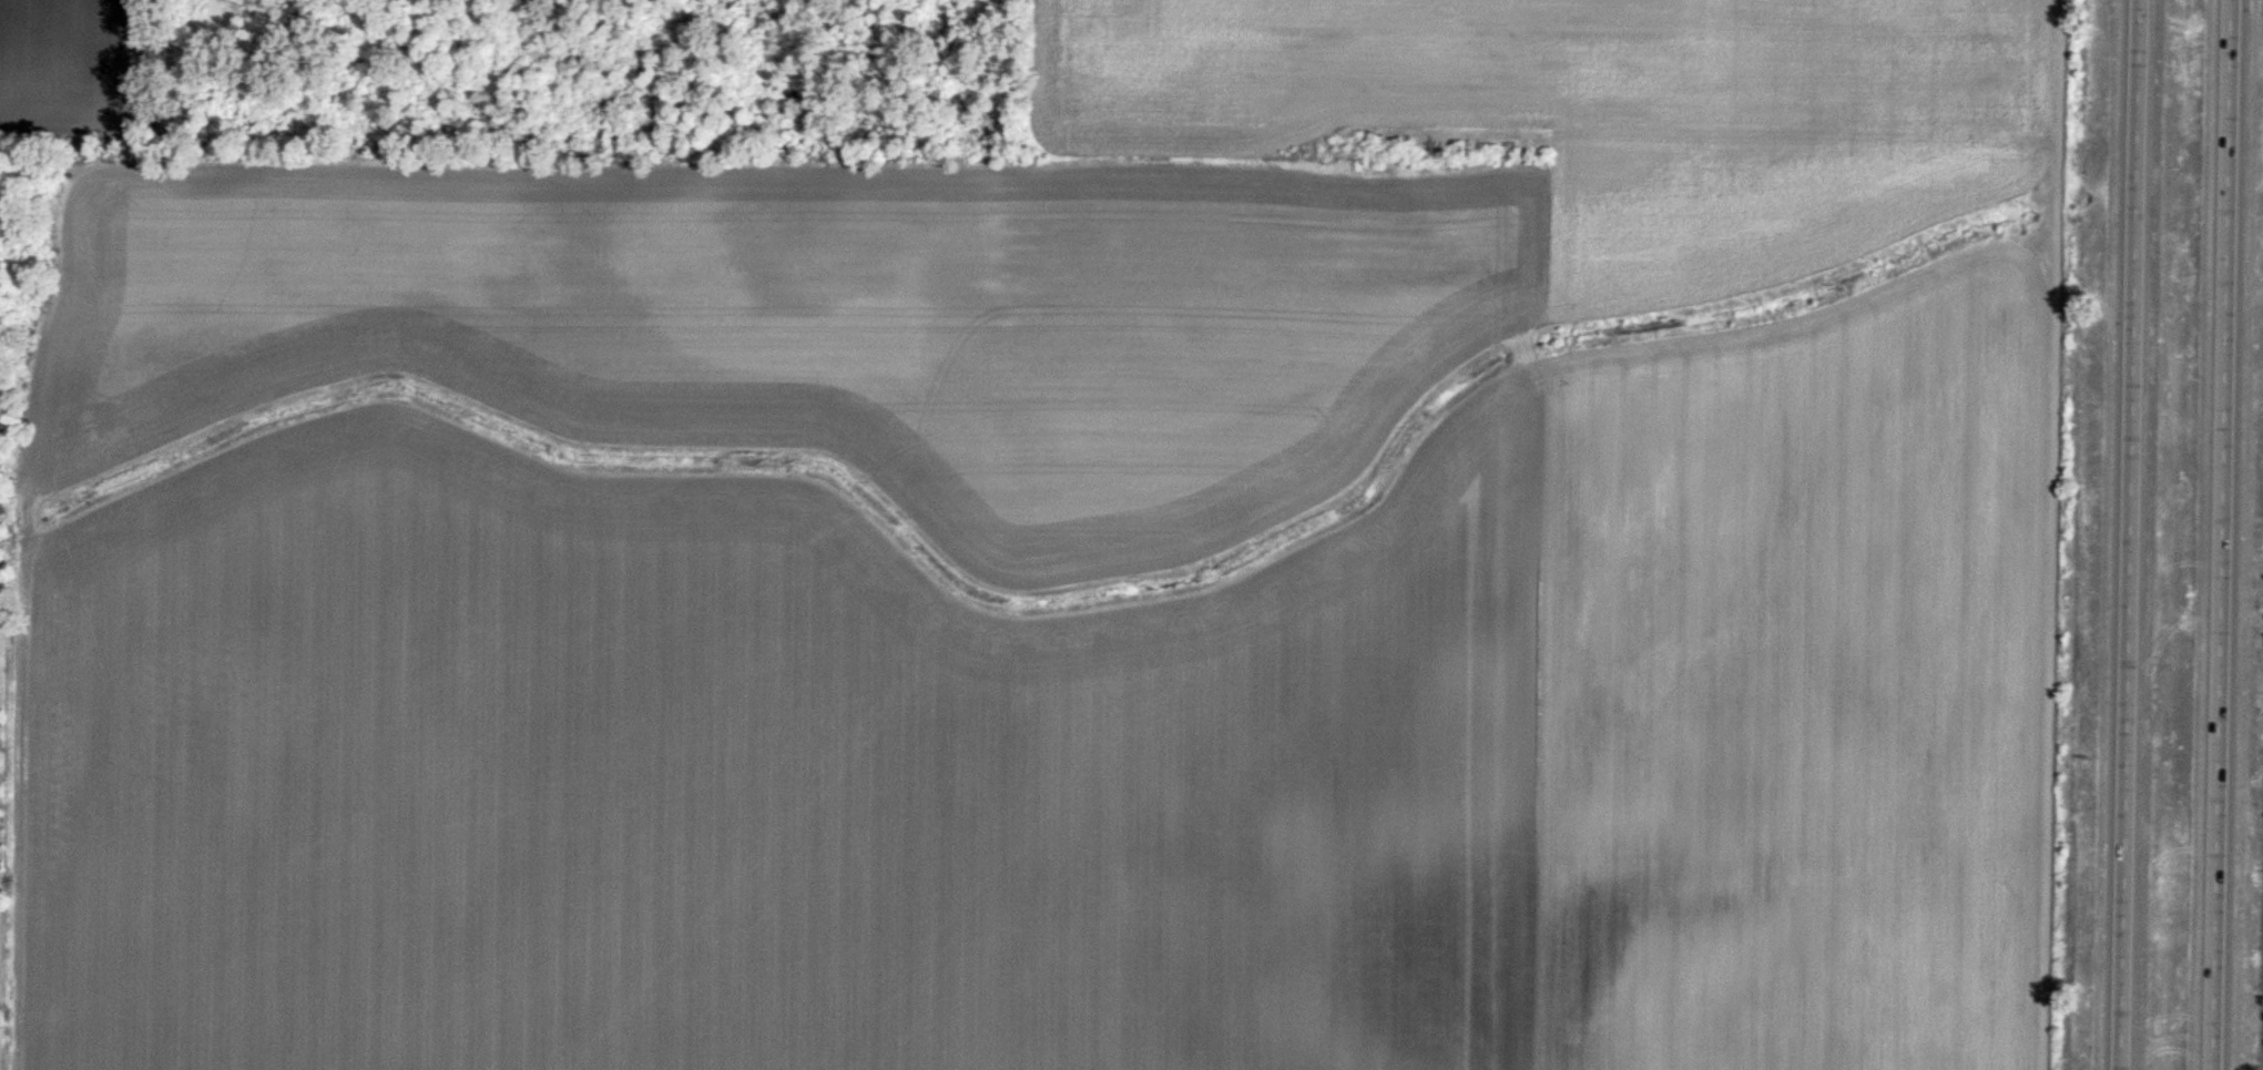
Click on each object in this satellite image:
road: (2128, 534)
road: (2226, 534)

